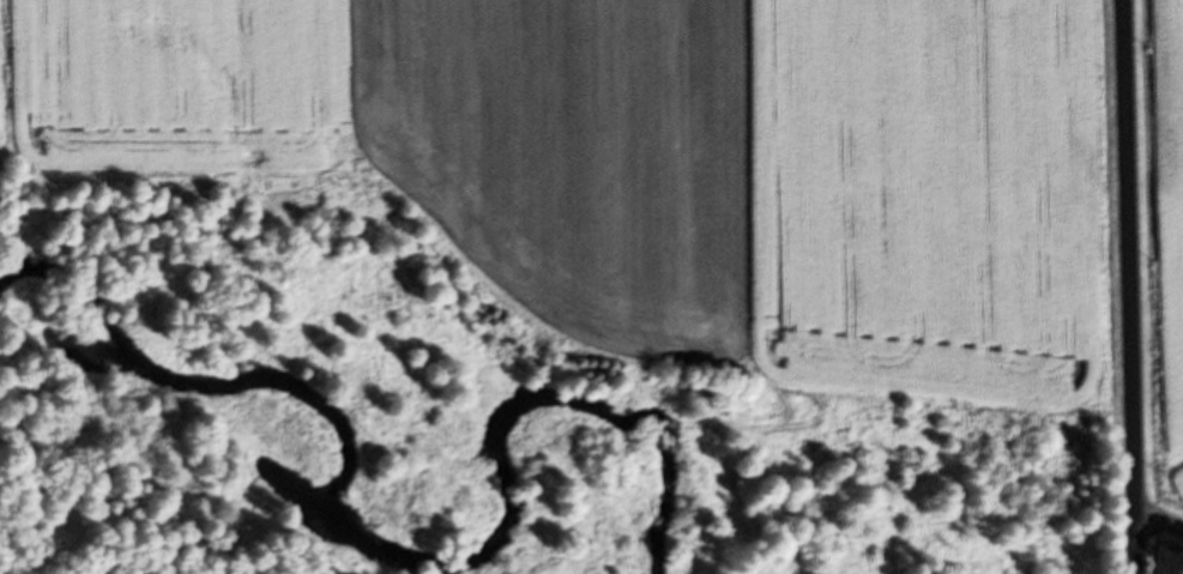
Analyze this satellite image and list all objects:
road: (1135, 286)
road: (1163, 520)

